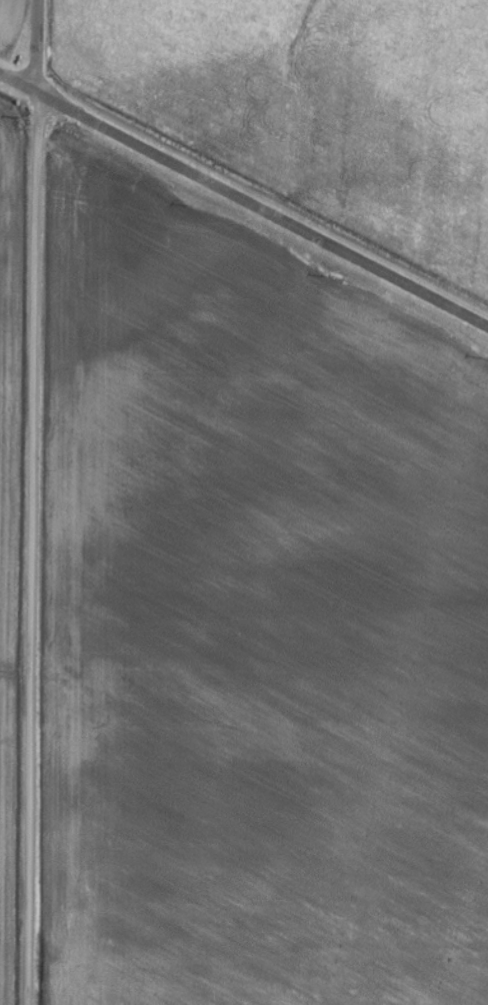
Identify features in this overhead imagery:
road: (244, 207)
road: (25, 502)

